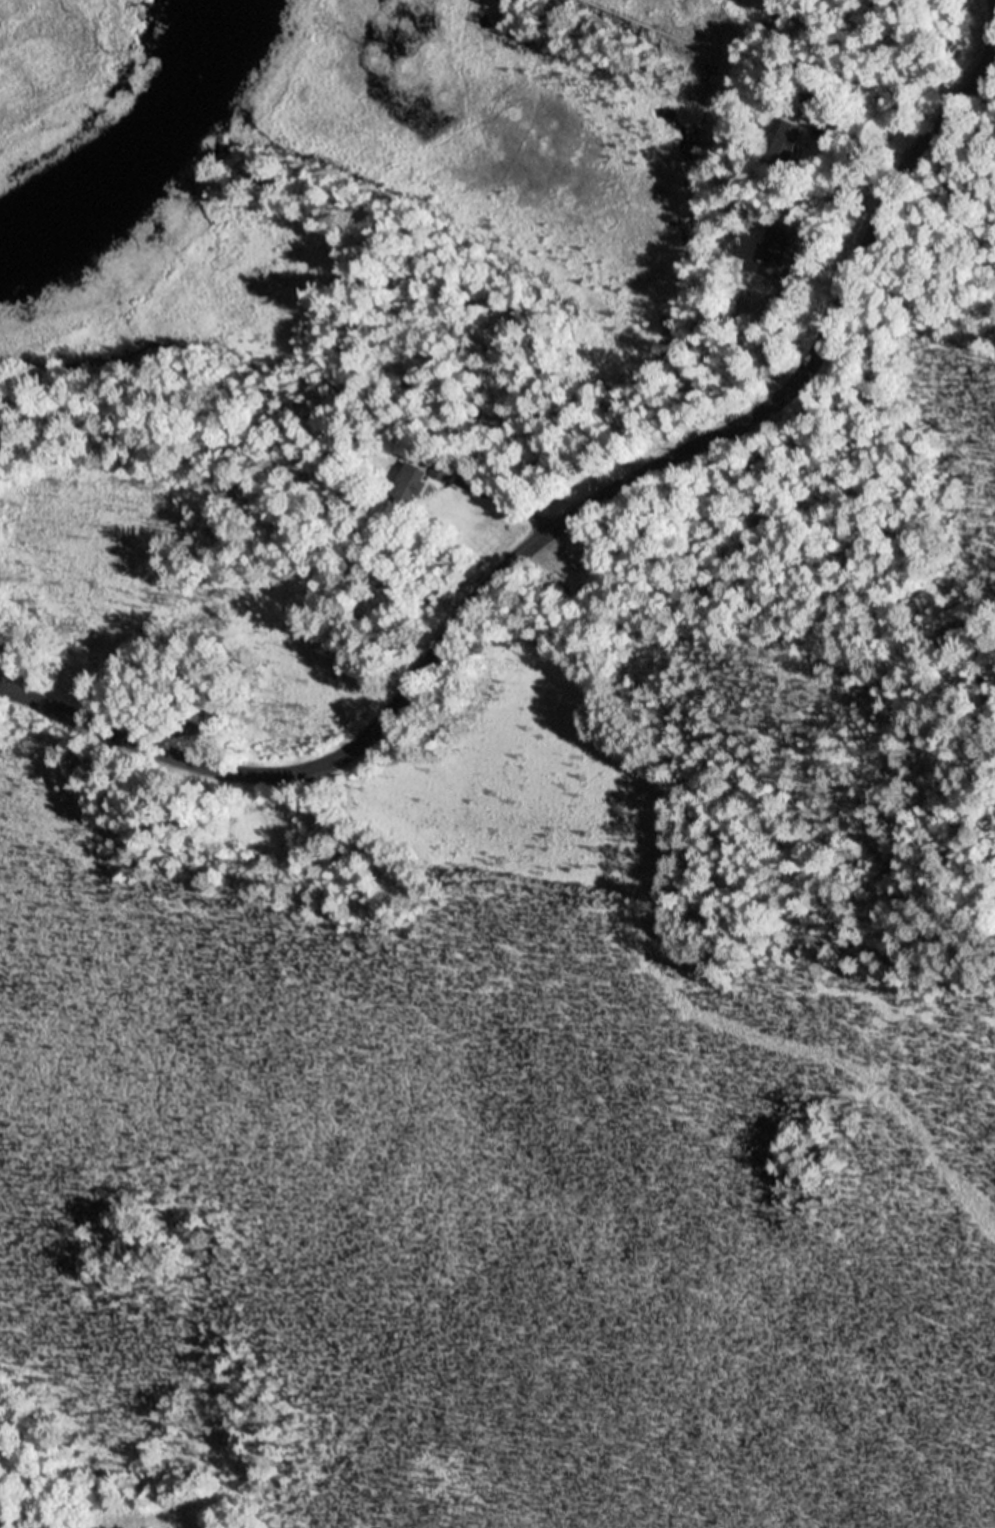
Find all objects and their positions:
building: (815, 98)
building: (787, 141)
river: (166, 168)
building: (5, 438)
building: (447, 467)
building: (412, 485)
road: (547, 530)

